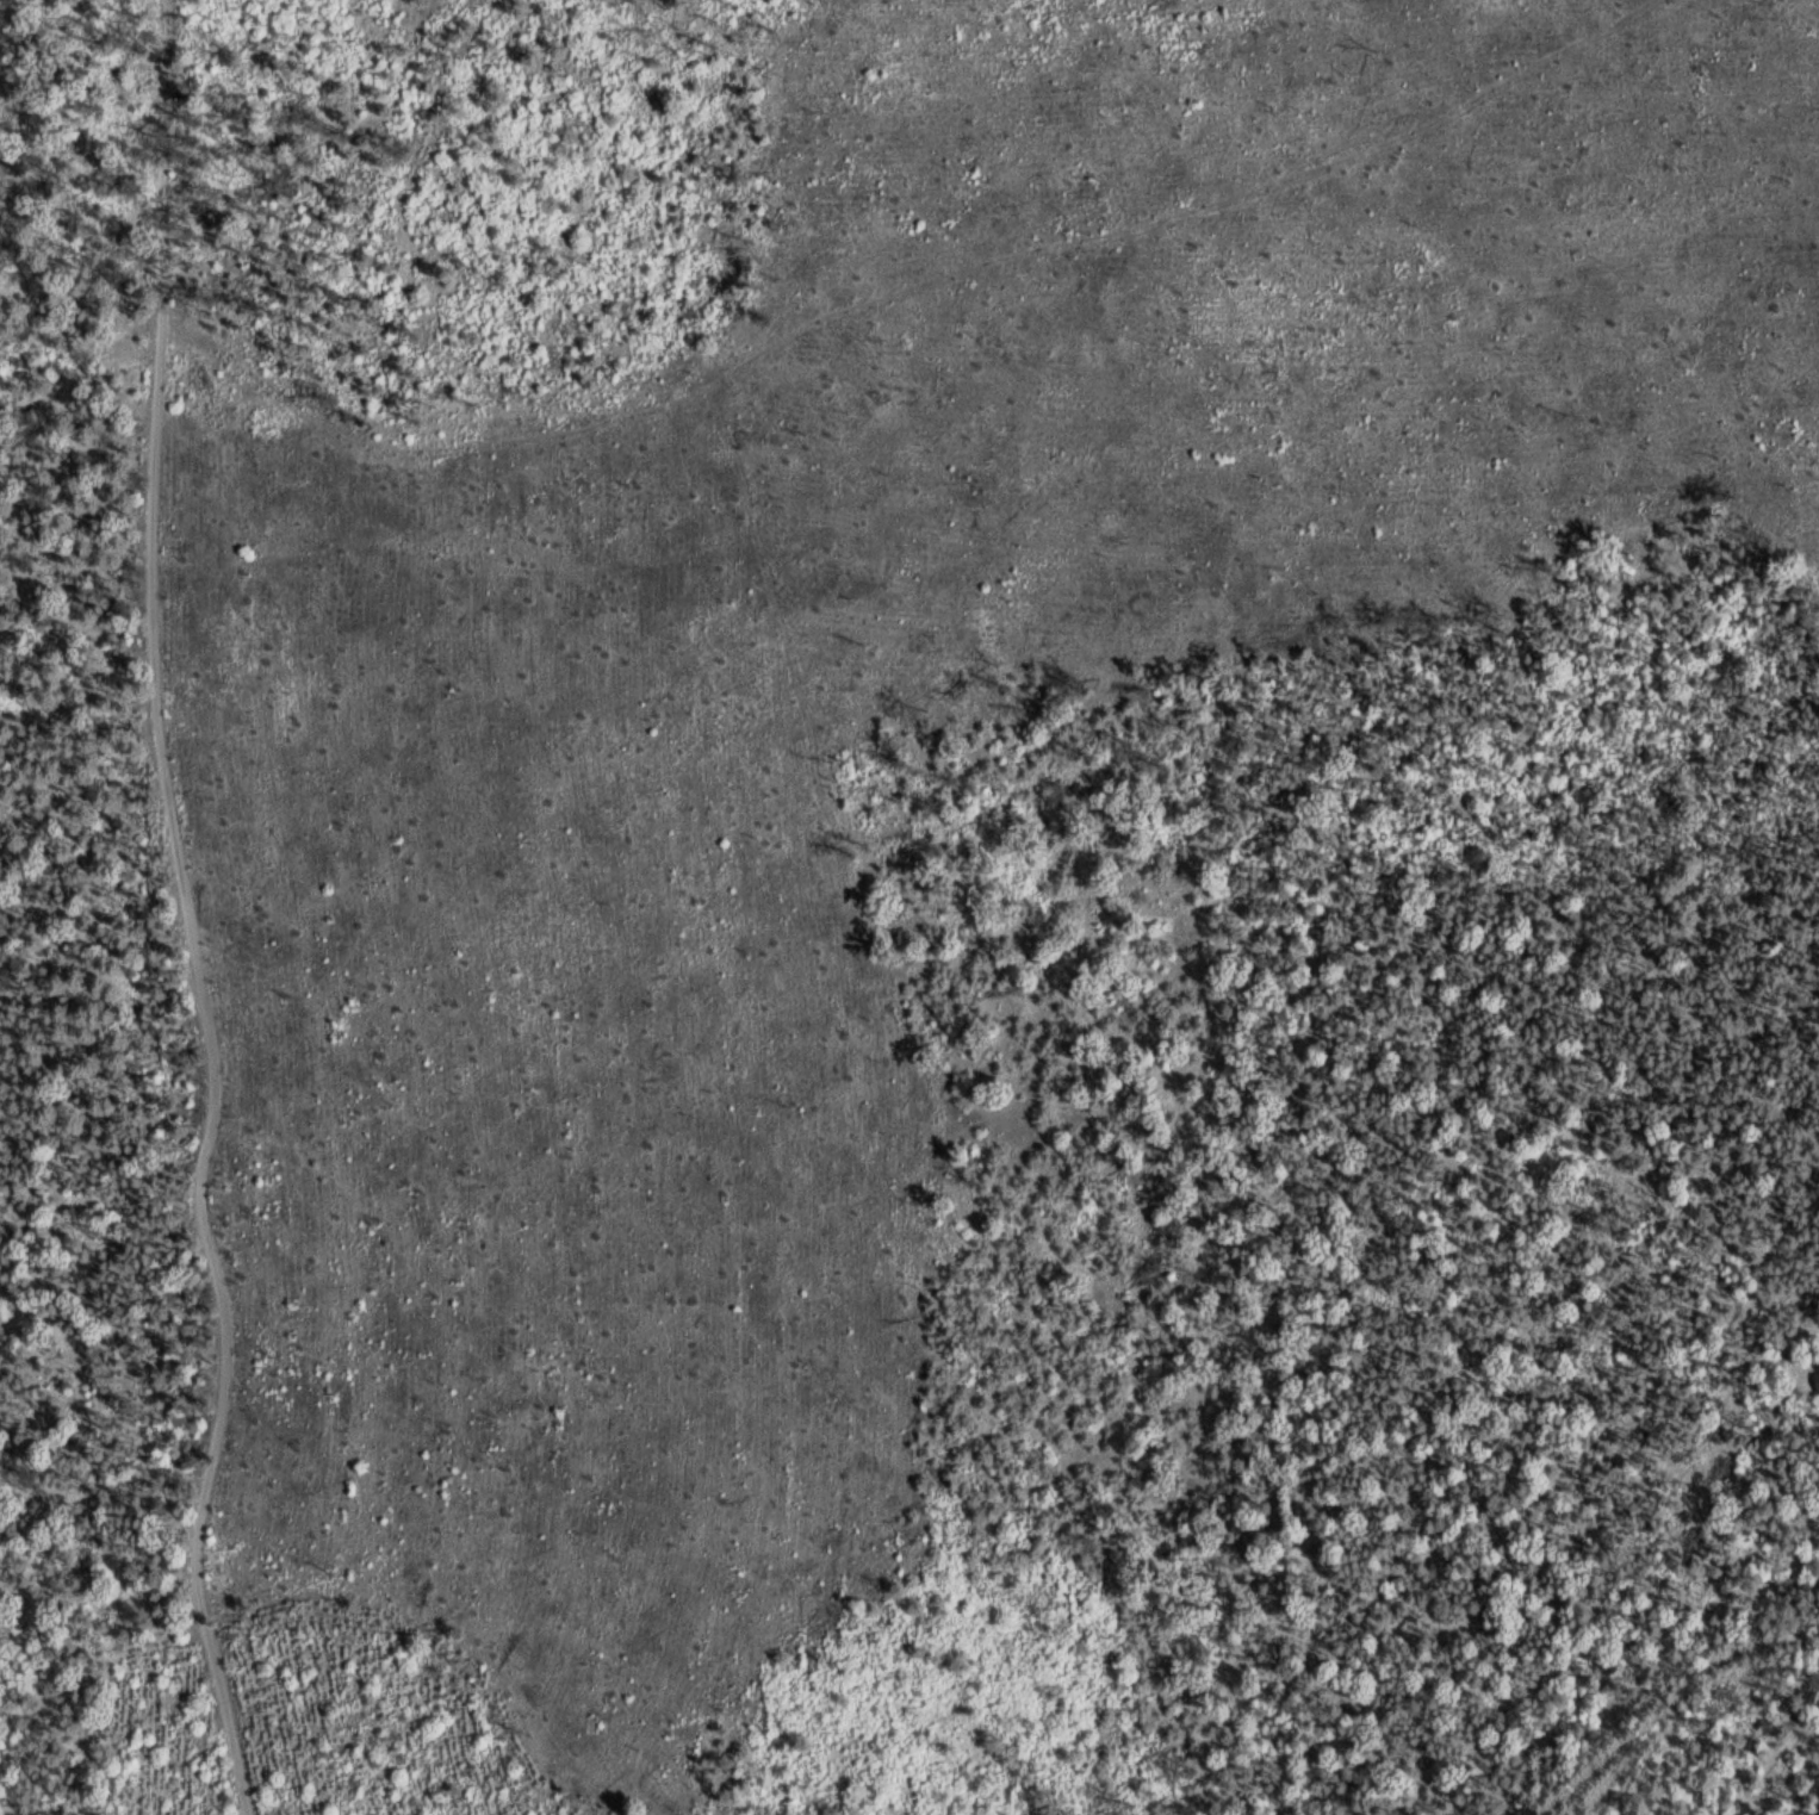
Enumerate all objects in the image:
road: (134, 922)
road: (1674, 1699)

